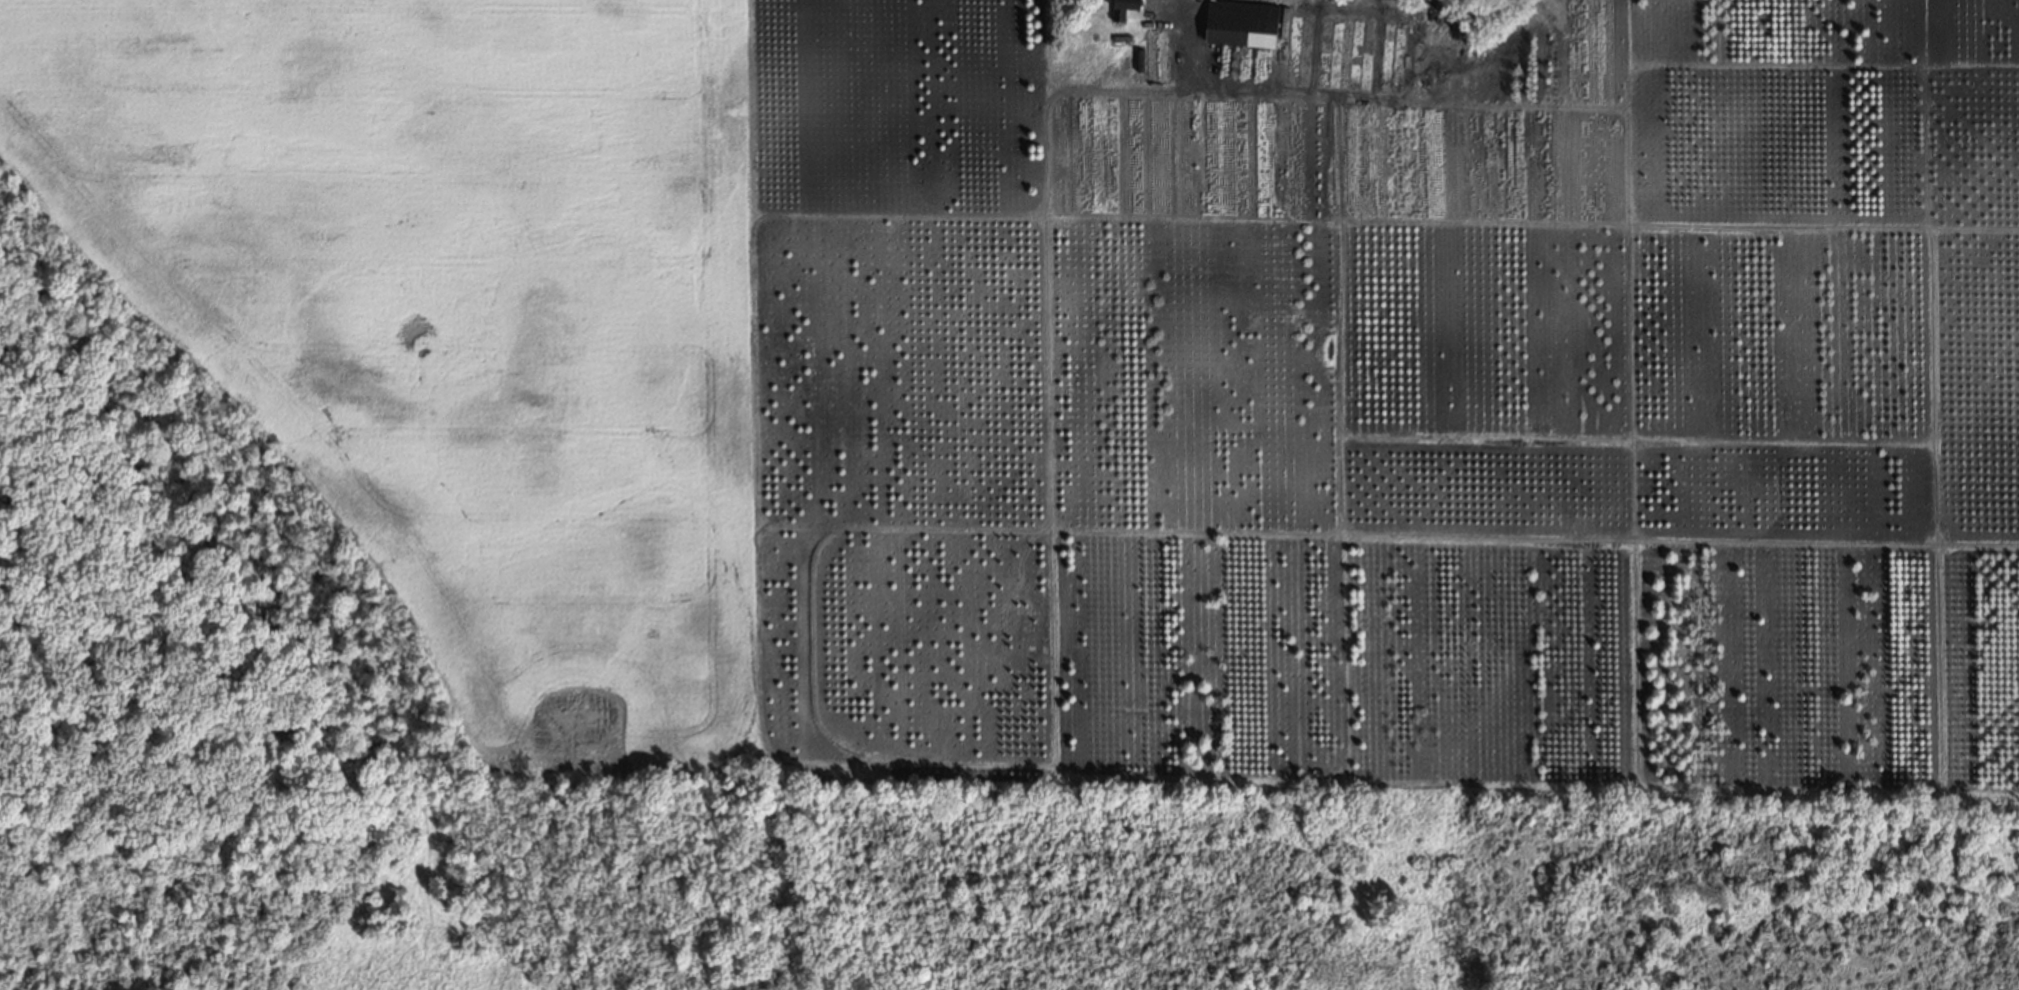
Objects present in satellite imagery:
road: (1171, 4)
building: (1120, 7)
building: (1239, 21)

